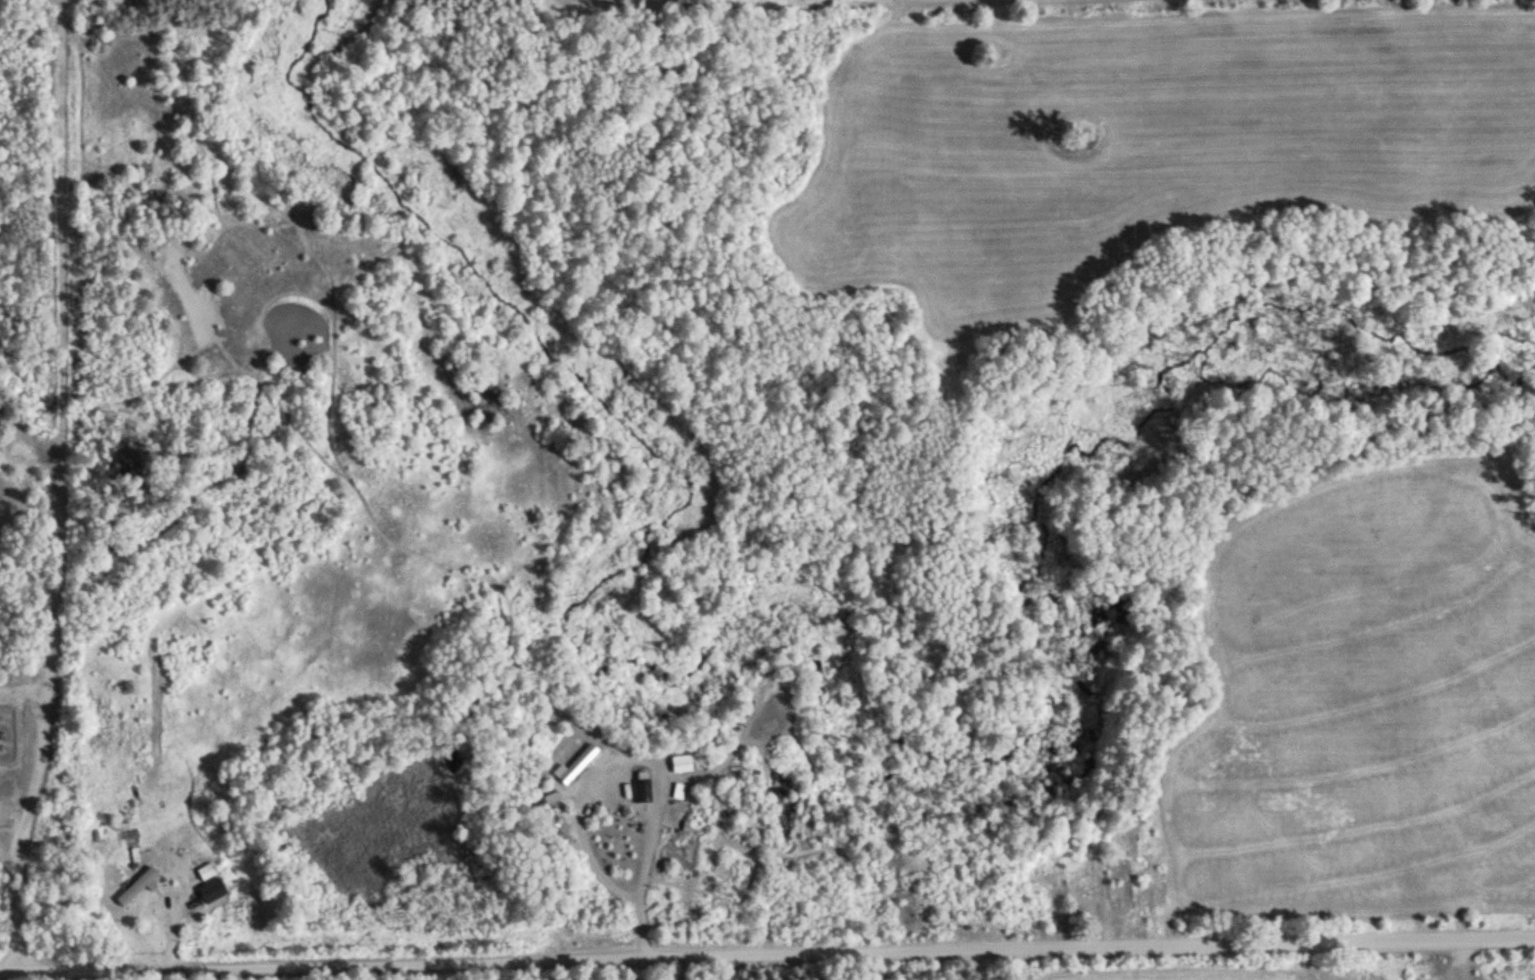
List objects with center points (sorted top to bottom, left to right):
road: (66, 484)
building: (582, 765)
road: (15, 858)
building: (1123, 882)
building: (145, 887)
building: (214, 890)
road: (767, 953)

